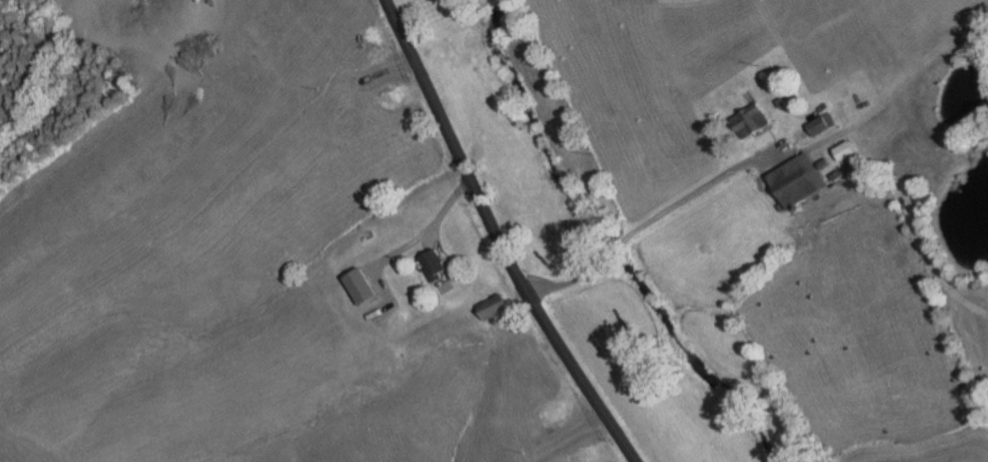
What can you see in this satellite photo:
building: (777, 102)
building: (747, 119)
building: (818, 123)
building: (842, 149)
building: (821, 162)
building: (833, 173)
building: (931, 177)
building: (793, 180)
road: (689, 192)
building: (914, 192)
road: (499, 237)
road: (431, 244)
road: (410, 245)
road: (611, 246)
building: (440, 265)
road: (571, 278)
building: (363, 287)
building: (498, 307)

